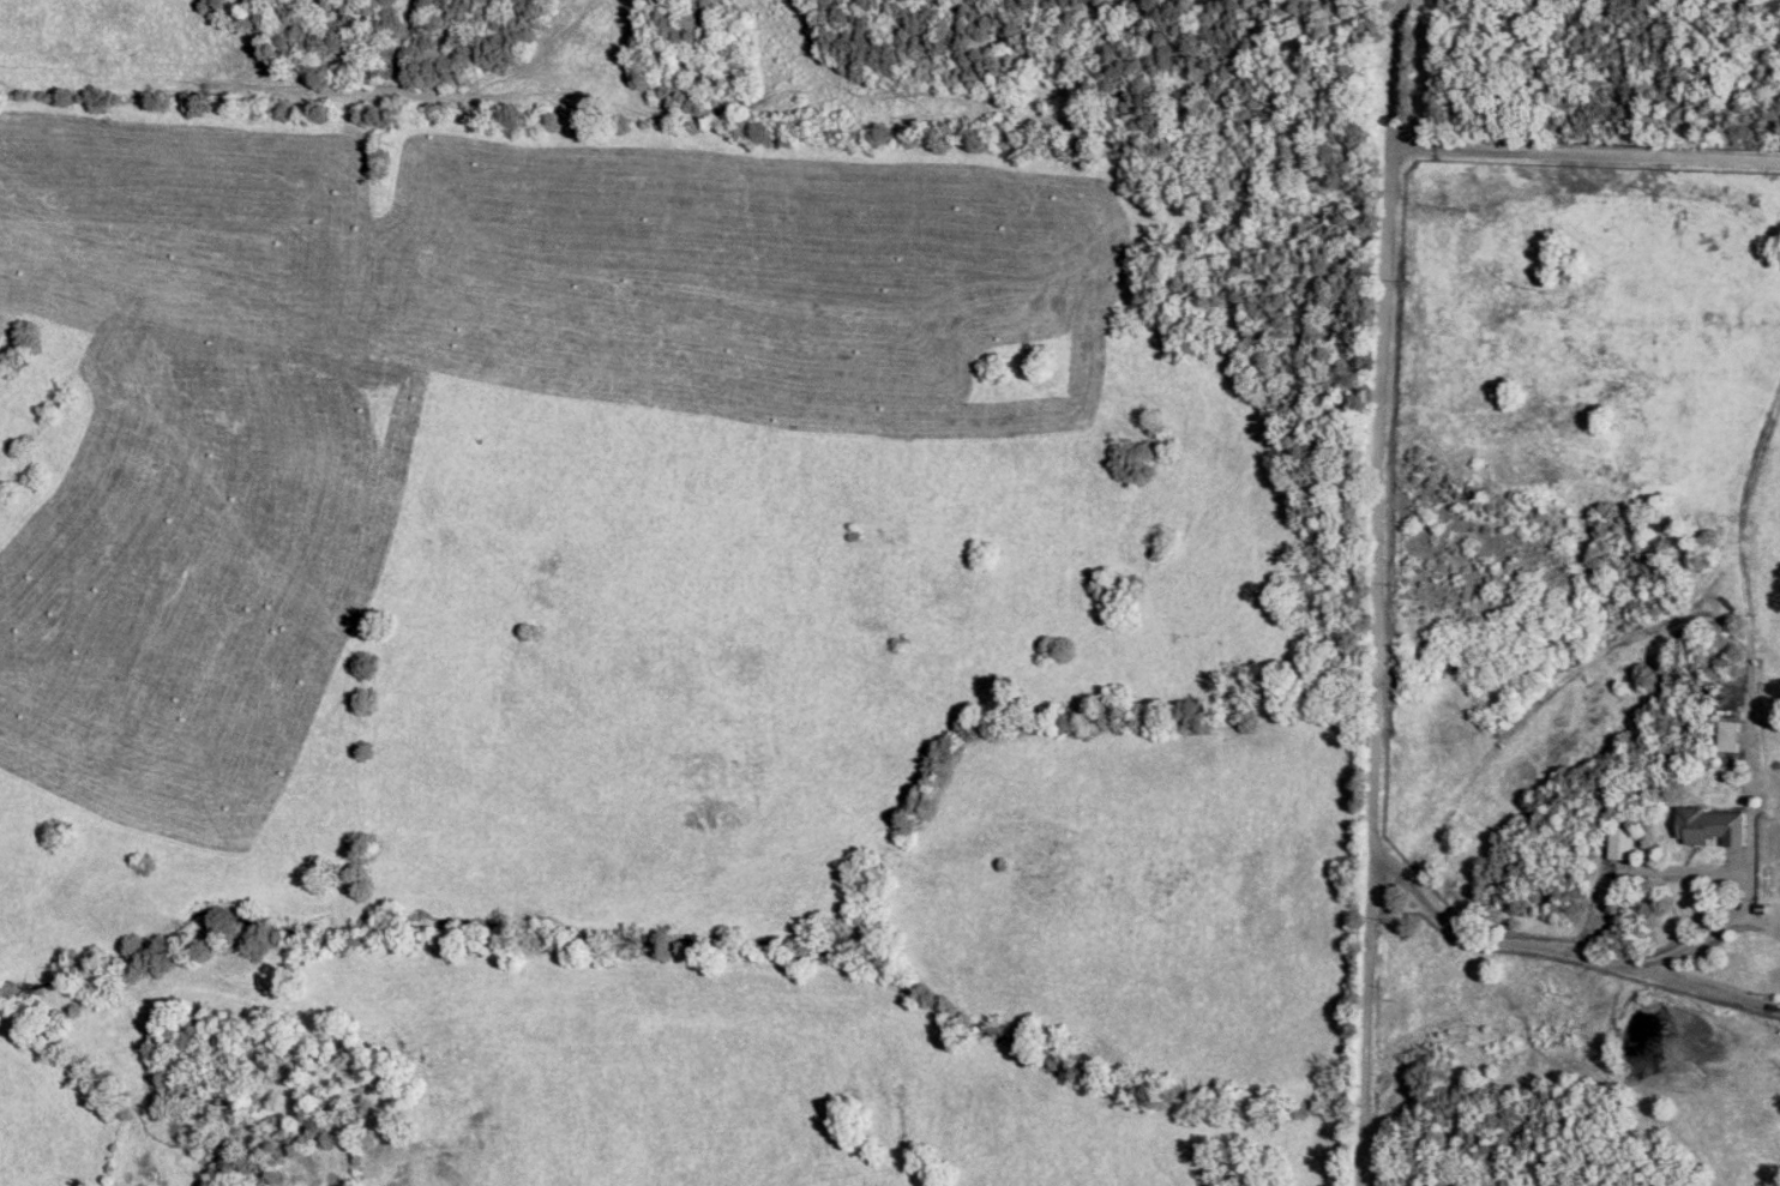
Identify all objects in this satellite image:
road: (1583, 153)
road: (1372, 592)
building: (1726, 736)
building: (1708, 827)
building: (1620, 843)
road: (1636, 871)
road: (1743, 883)
road: (1553, 951)

